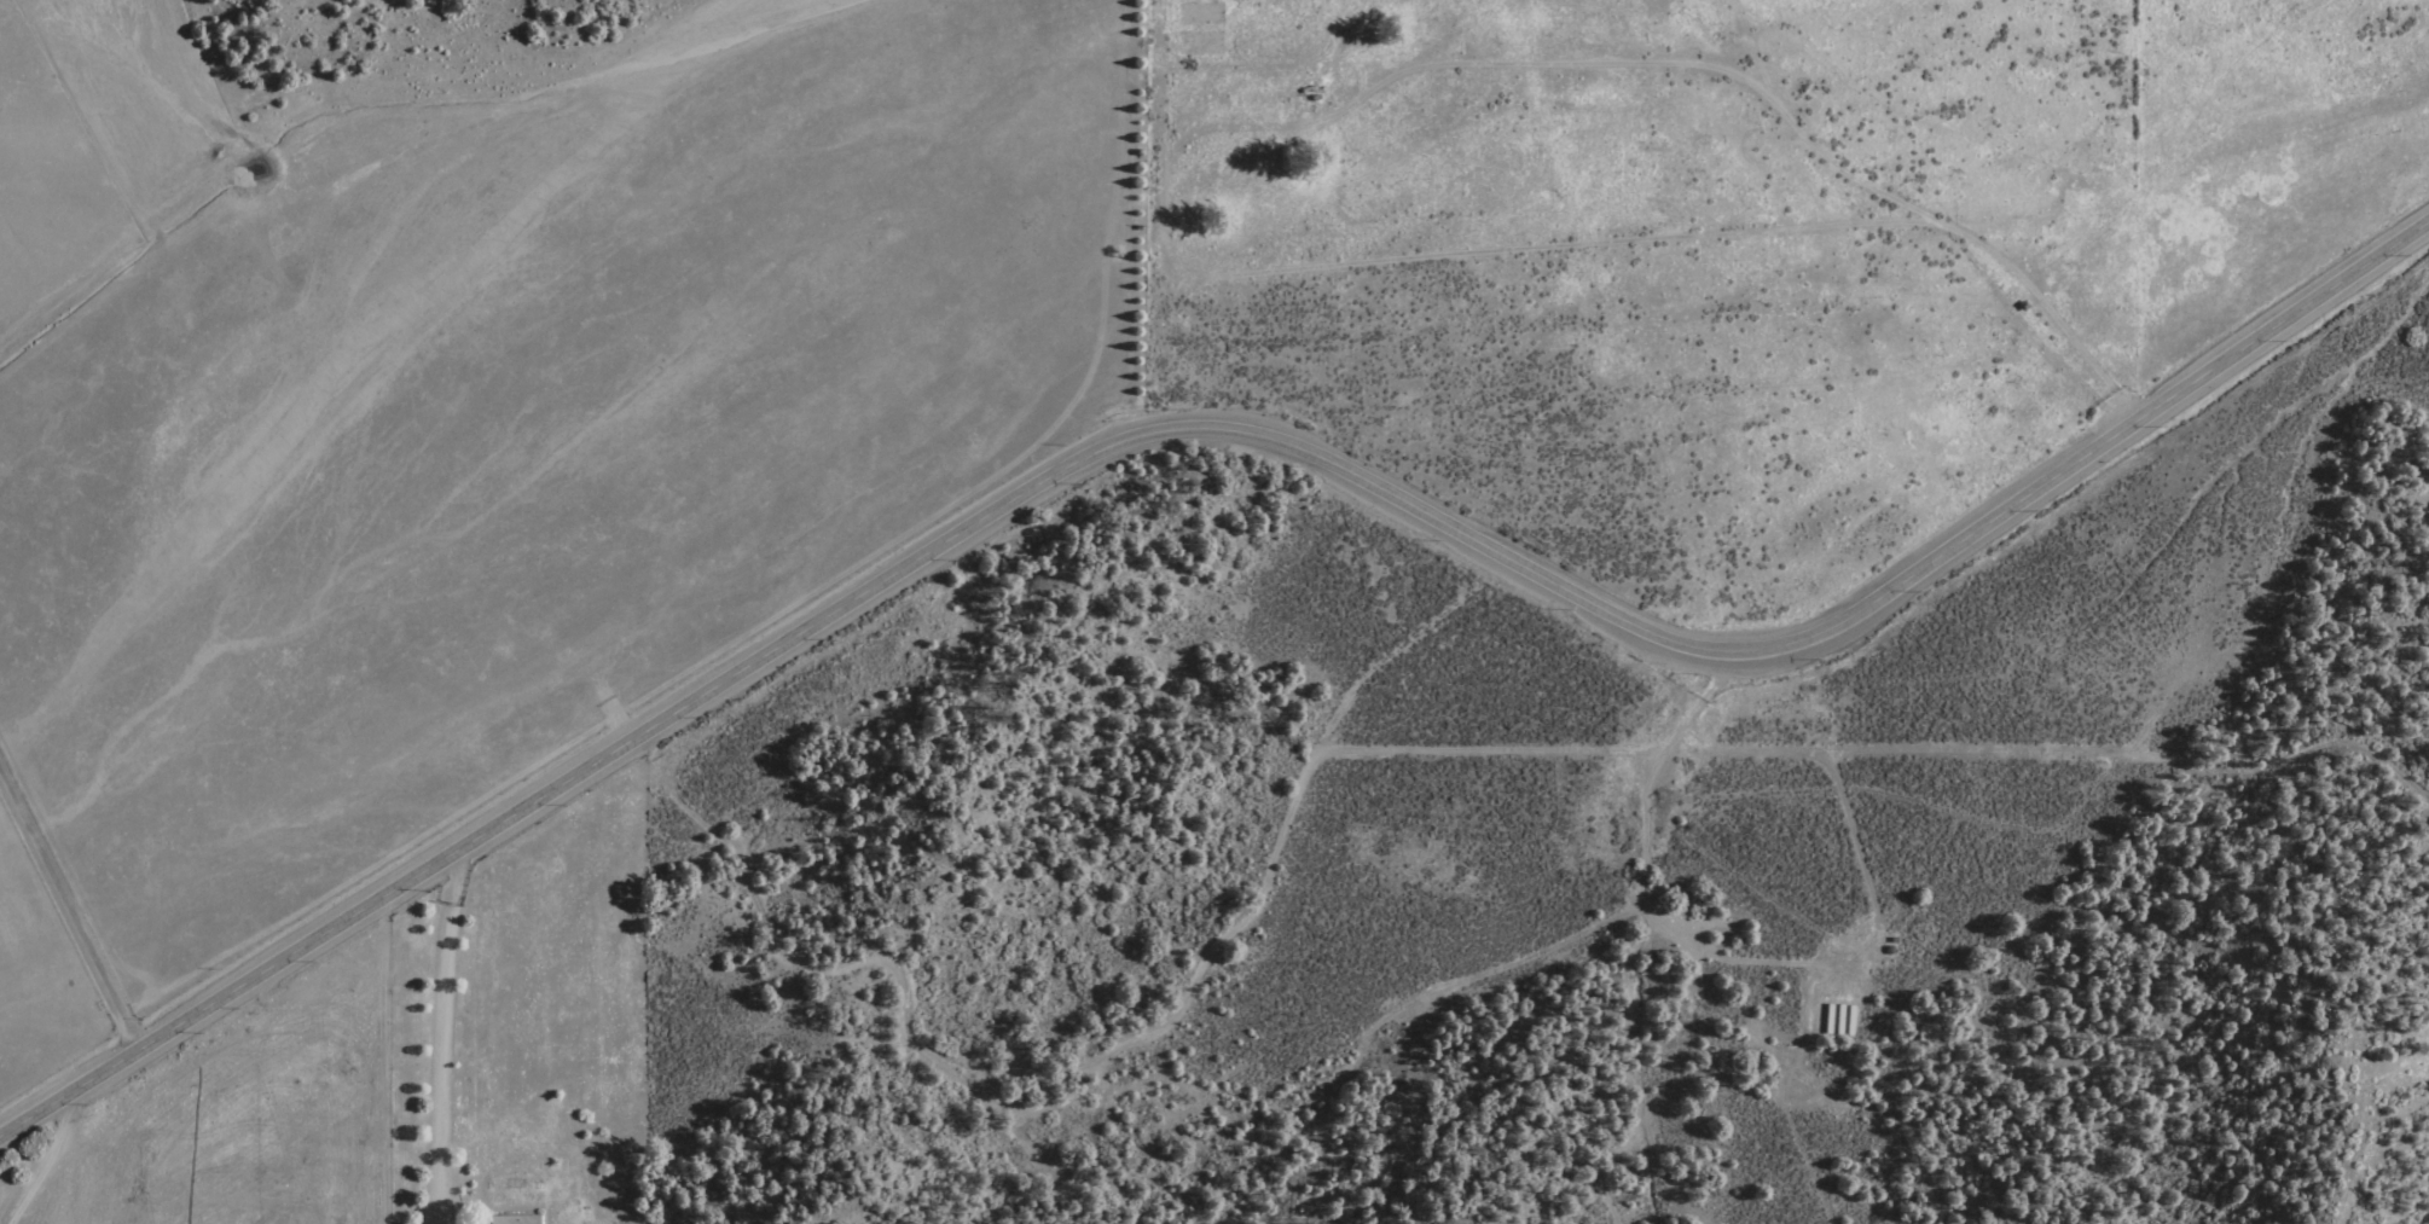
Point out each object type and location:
road: (1717, 40)
road: (1194, 134)
road: (2080, 349)
road: (1202, 430)
road: (70, 911)
road: (441, 1032)
road: (1098, 1062)
road: (39, 1166)
building: (515, 1218)

